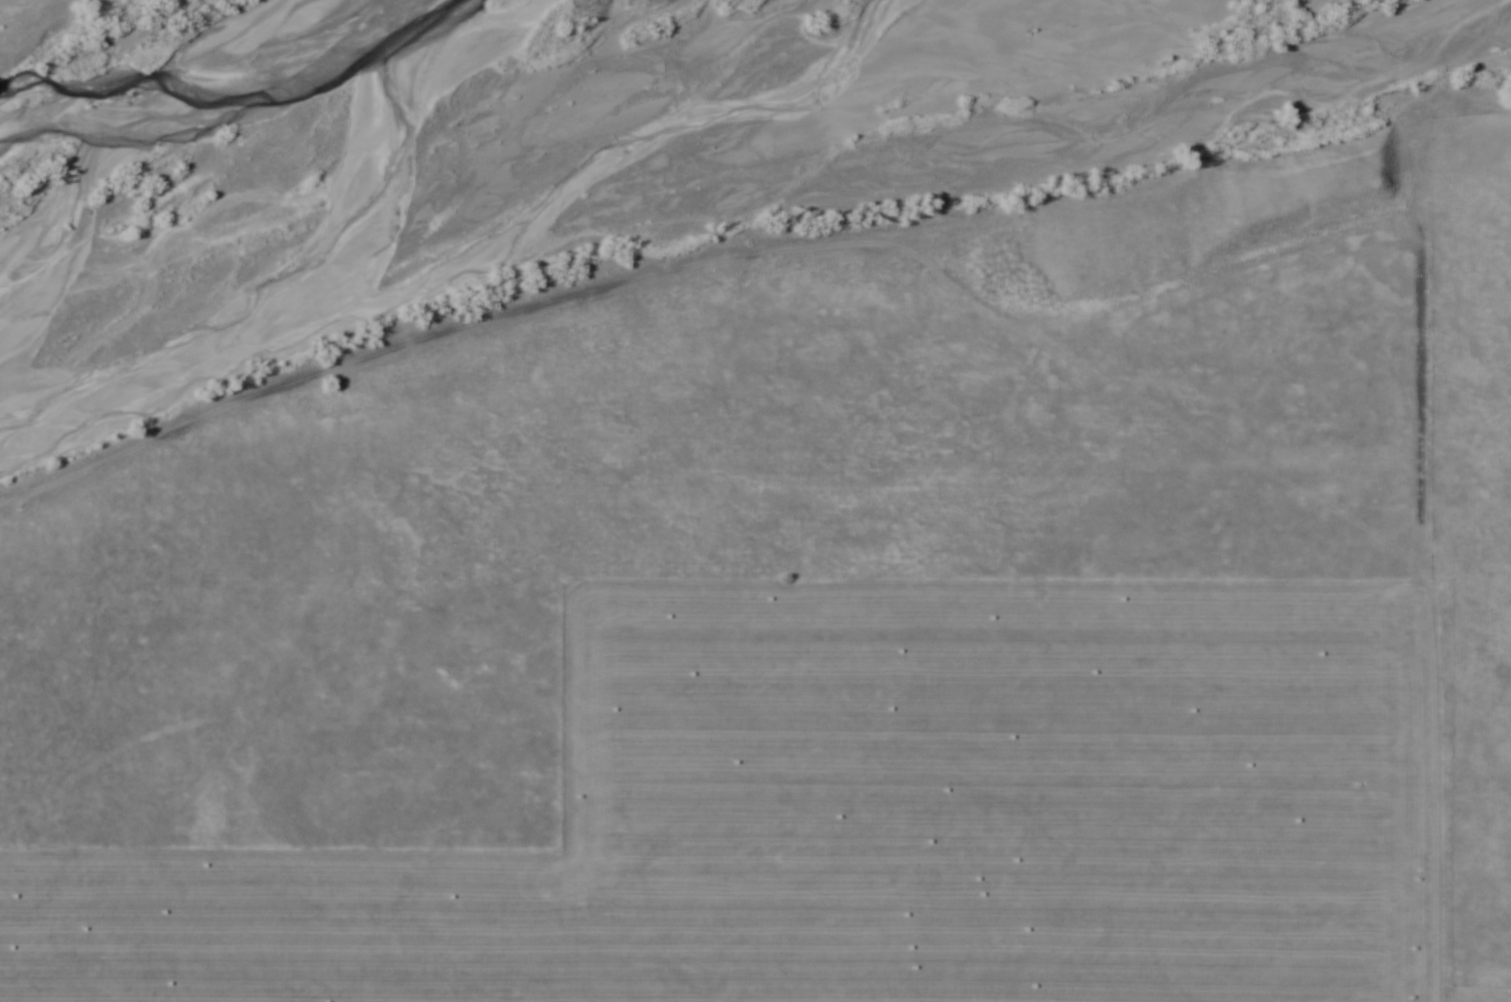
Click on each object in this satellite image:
river: (730, 198)

